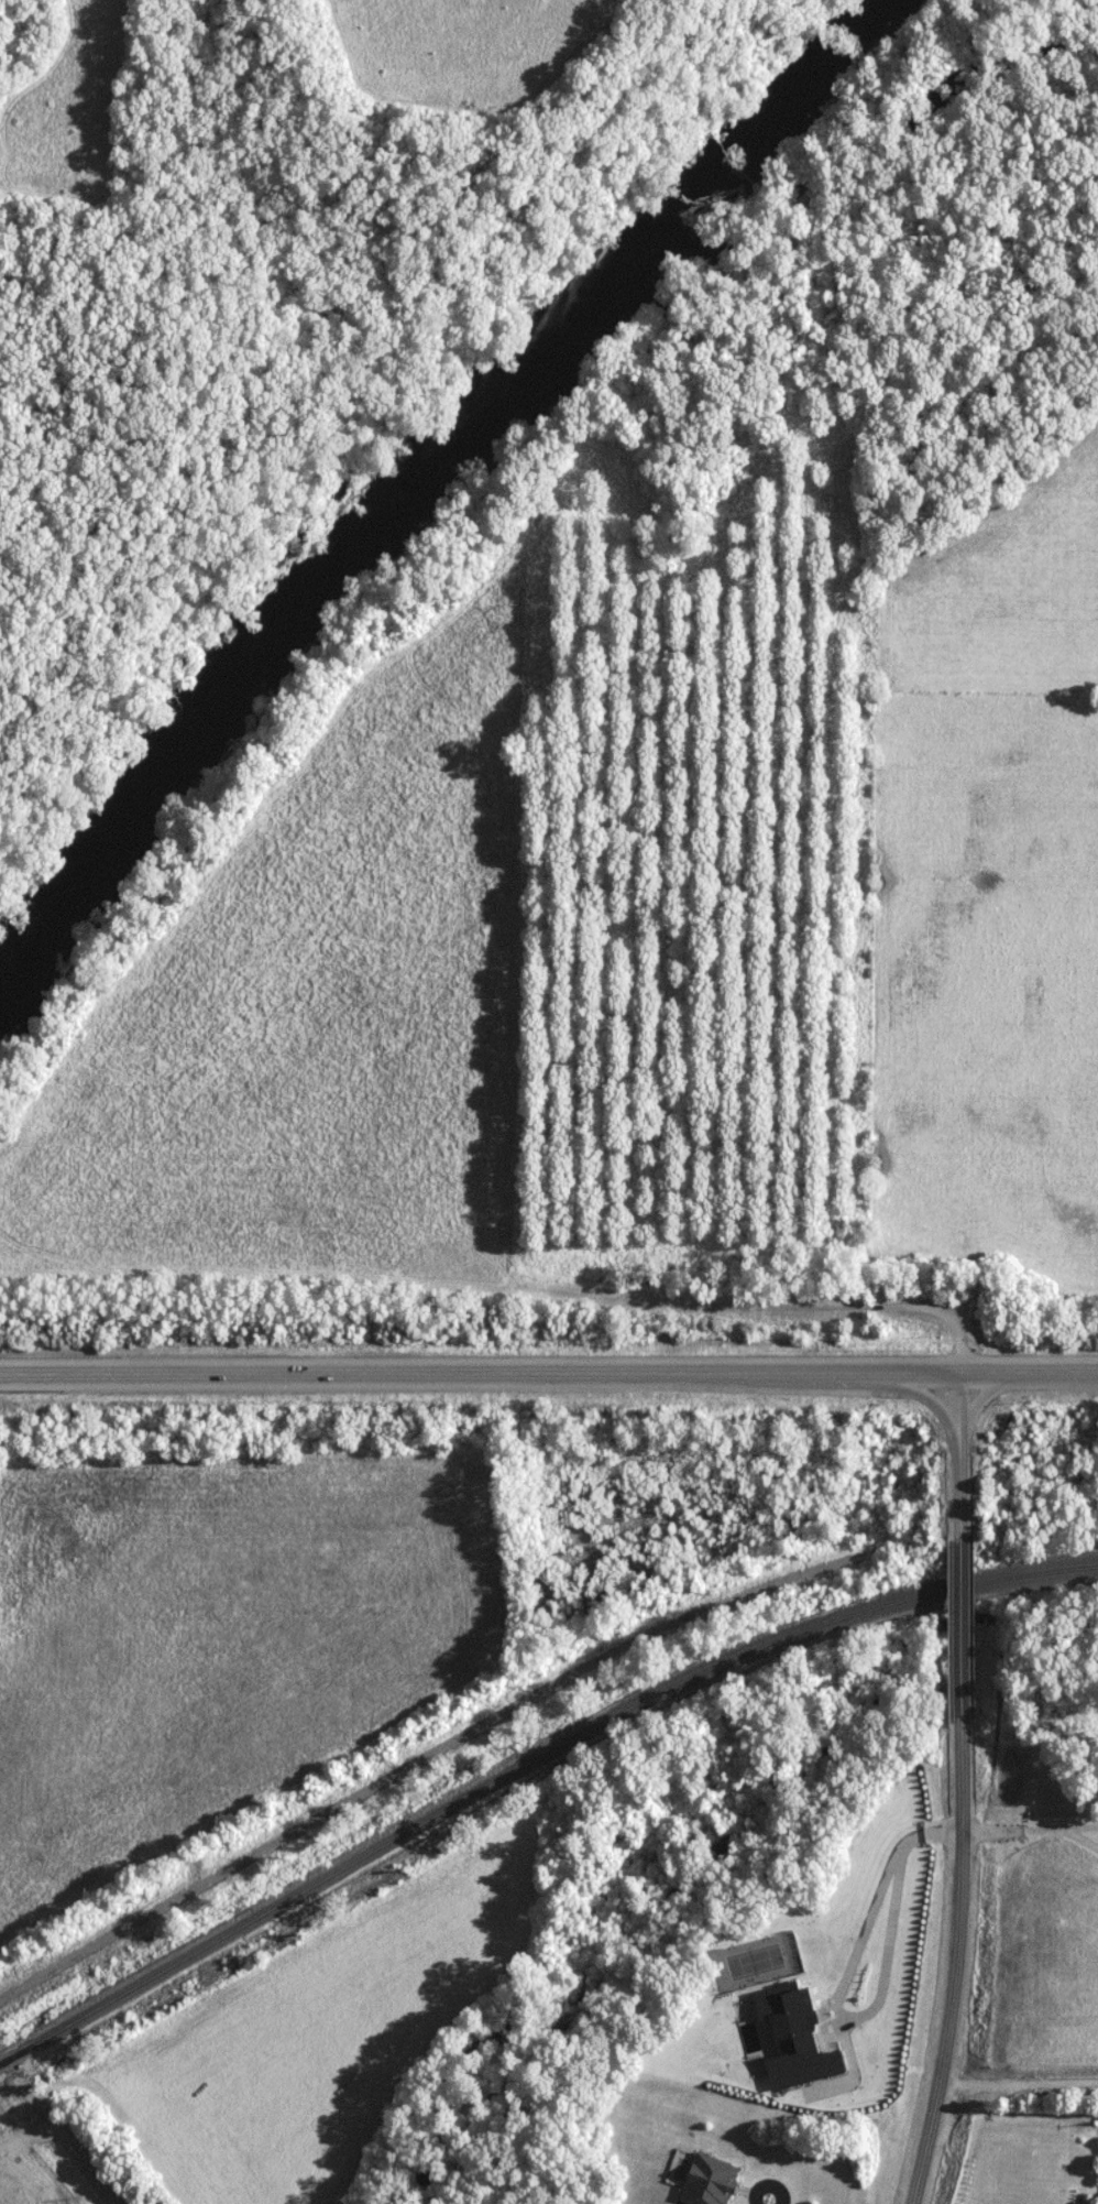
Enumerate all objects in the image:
river: (427, 482)
road: (548, 1368)
road: (963, 1447)
road: (962, 1627)
road: (426, 1758)
railway: (528, 1763)
road: (956, 1967)
road: (83, 2141)

